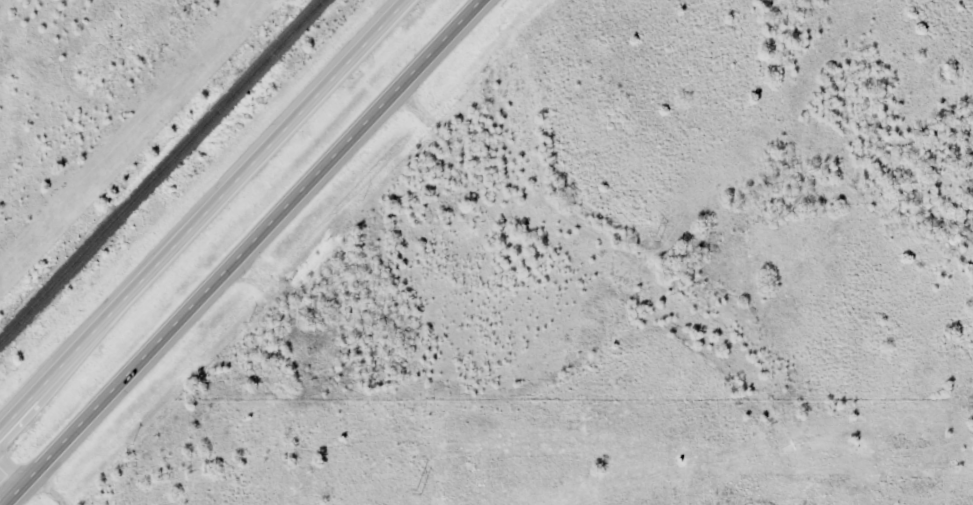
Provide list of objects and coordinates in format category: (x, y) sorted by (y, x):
railway: (160, 170)
road: (205, 215)
power tower: (659, 239)
road: (243, 252)
road: (9, 482)
power tower: (419, 492)

